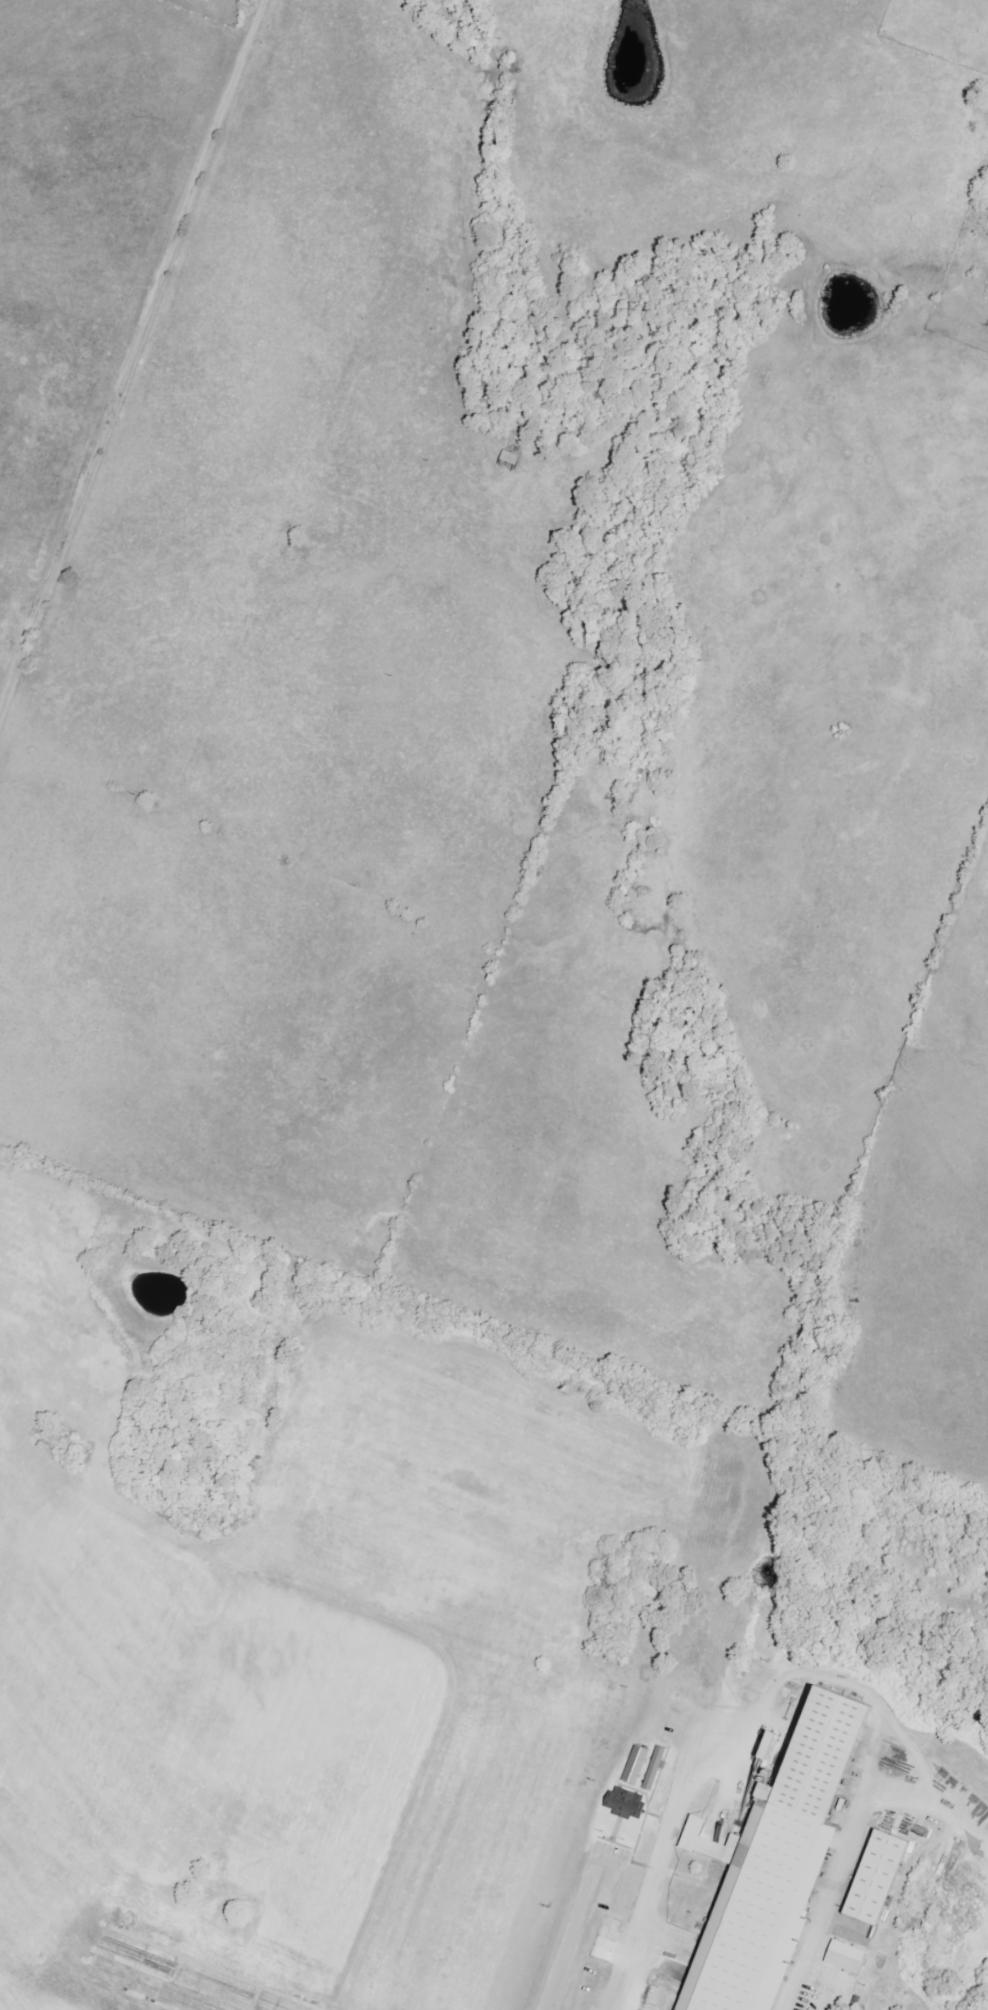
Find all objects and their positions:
building: (636, 1765)
building: (655, 1769)
building: (626, 1803)
building: (710, 1841)
building: (776, 1863)
building: (876, 1877)
road: (569, 1935)
building: (845, 1957)

